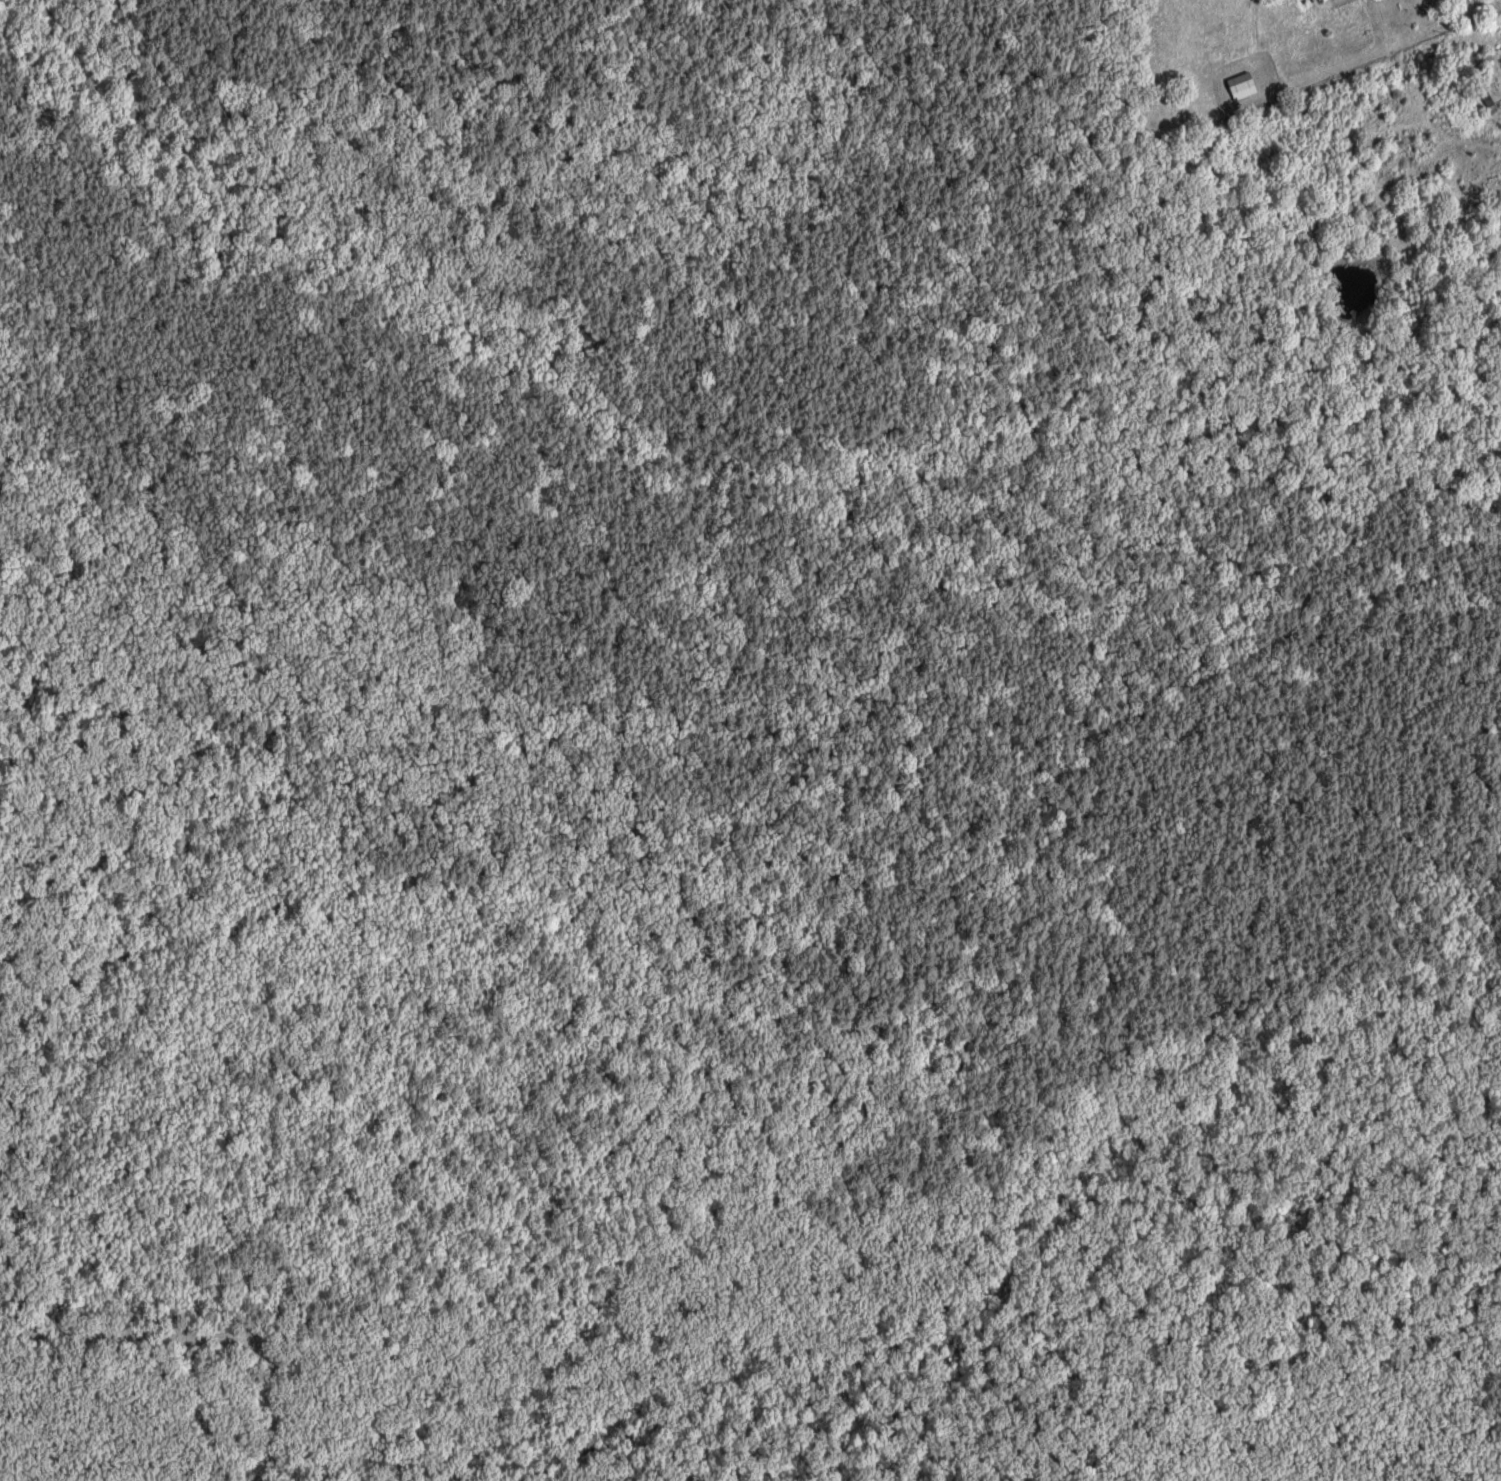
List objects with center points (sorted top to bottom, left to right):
building: (1244, 85)

